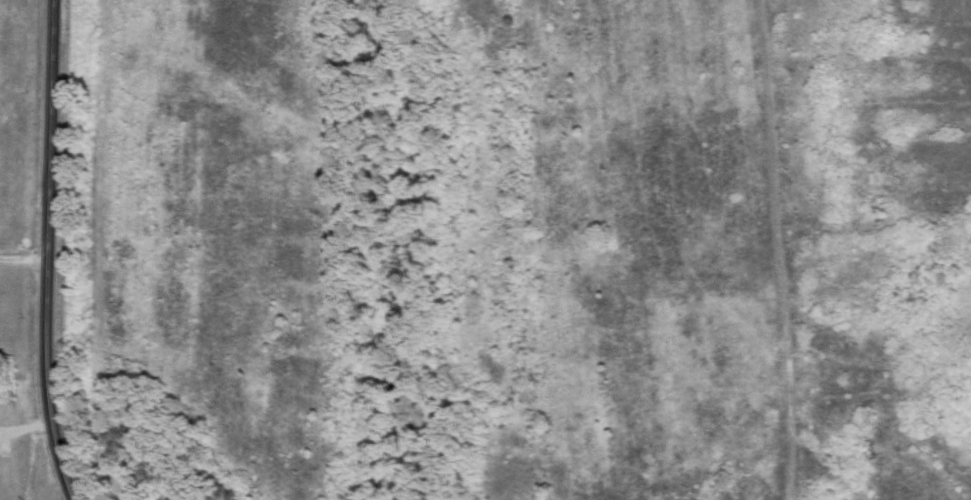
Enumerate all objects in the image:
park: (518, 249)
road: (46, 251)
road: (23, 259)

